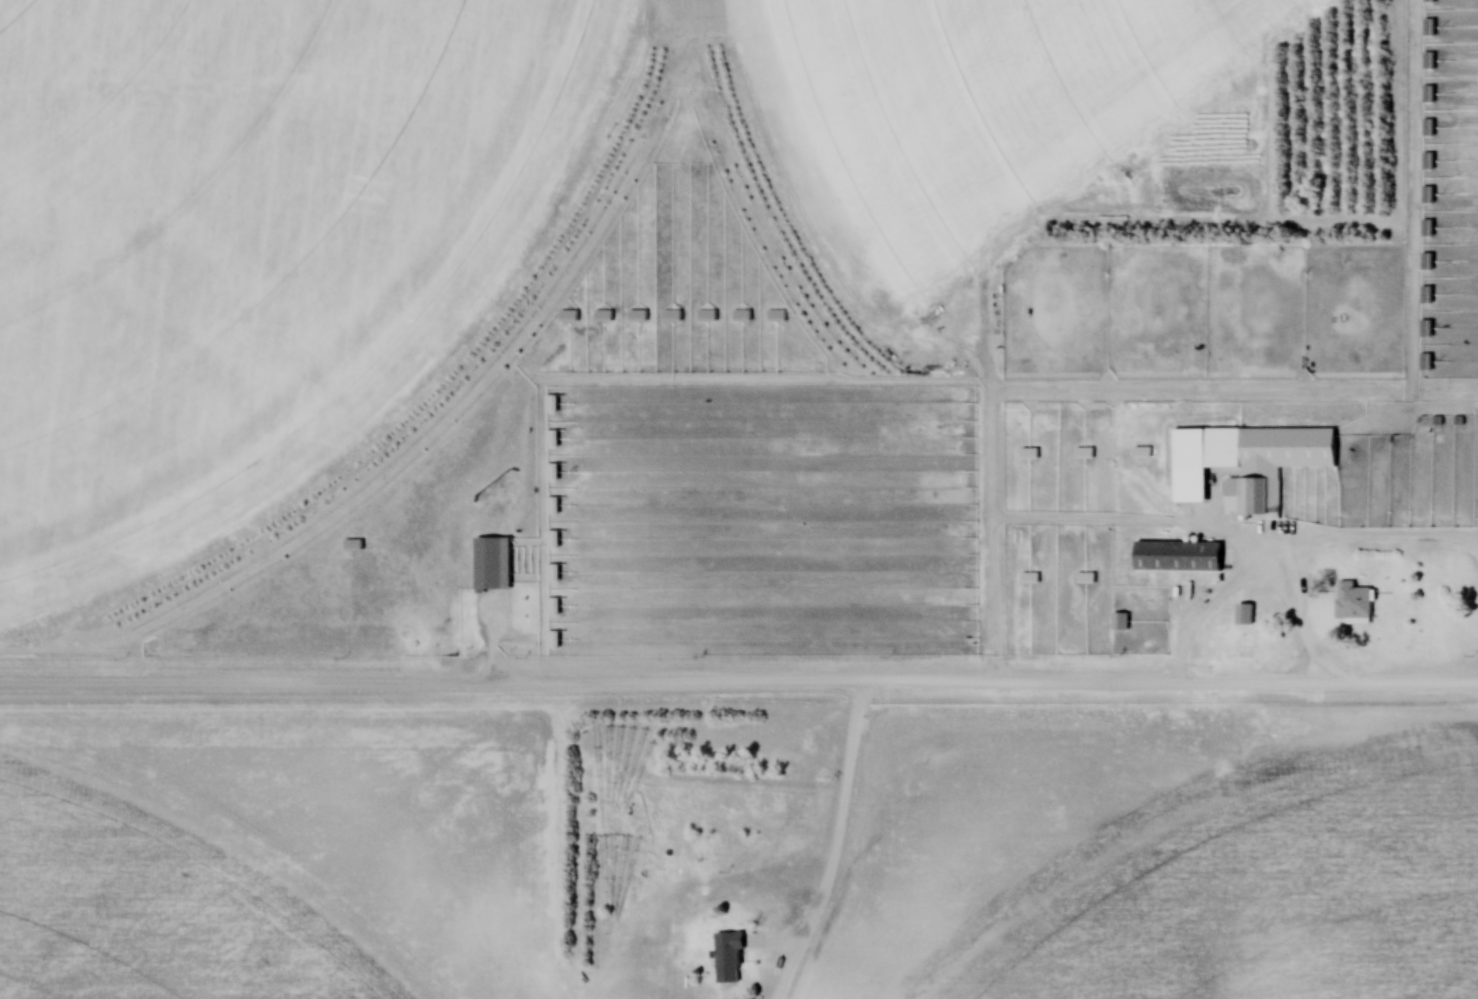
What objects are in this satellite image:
building: (1427, 0)
building: (1427, 61)
building: (1425, 228)
building: (1424, 261)
building: (1423, 294)
building: (679, 301)
building: (551, 438)
building: (1277, 464)
building: (552, 505)
building: (363, 548)
building: (1179, 557)
building: (493, 564)
building: (552, 572)
road: (1251, 584)
building: (1353, 601)
building: (552, 606)
building: (1245, 615)
building: (1119, 622)
road: (739, 688)
road: (831, 848)
building: (730, 958)

